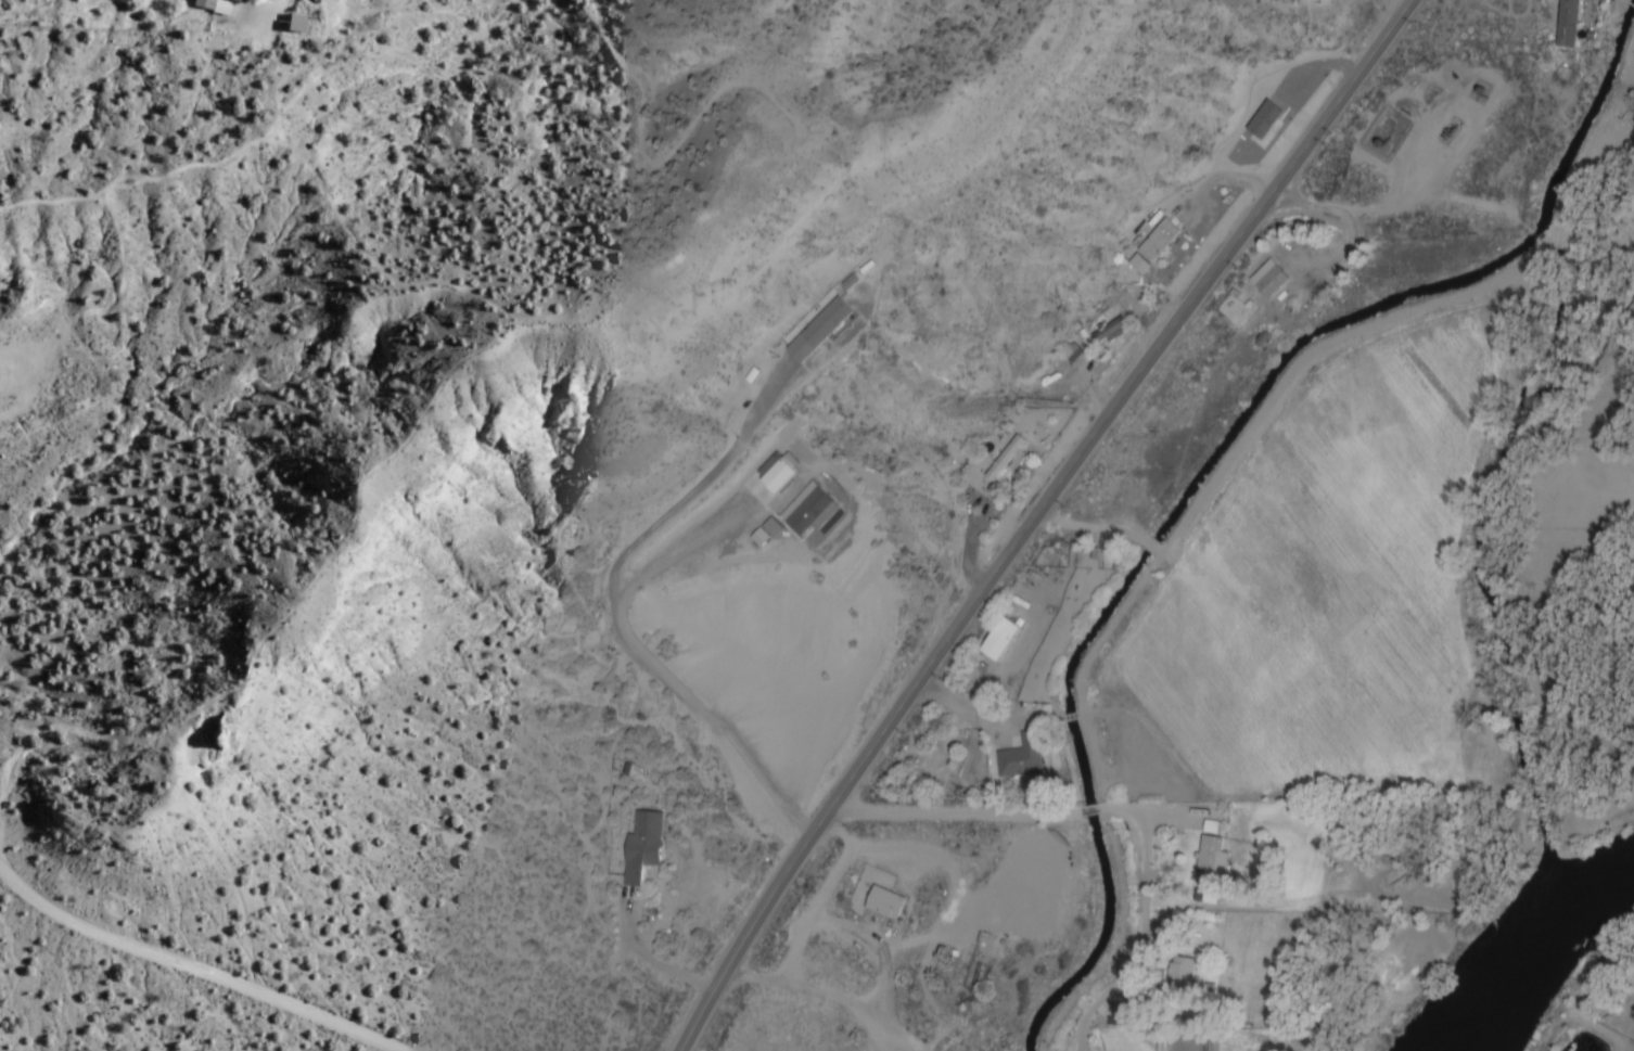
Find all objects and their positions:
building: (213, 5)
building: (1569, 24)
building: (1266, 119)
building: (1156, 246)
building: (1271, 279)
building: (820, 330)
building: (1111, 331)
building: (1006, 459)
building: (780, 477)
building: (809, 512)
road: (1035, 516)
building: (768, 534)
river: (1498, 572)
building: (1001, 639)
building: (1024, 758)
building: (644, 848)
building: (1210, 861)
building: (888, 906)
river: (1533, 947)
road: (193, 969)
building: (1183, 972)

